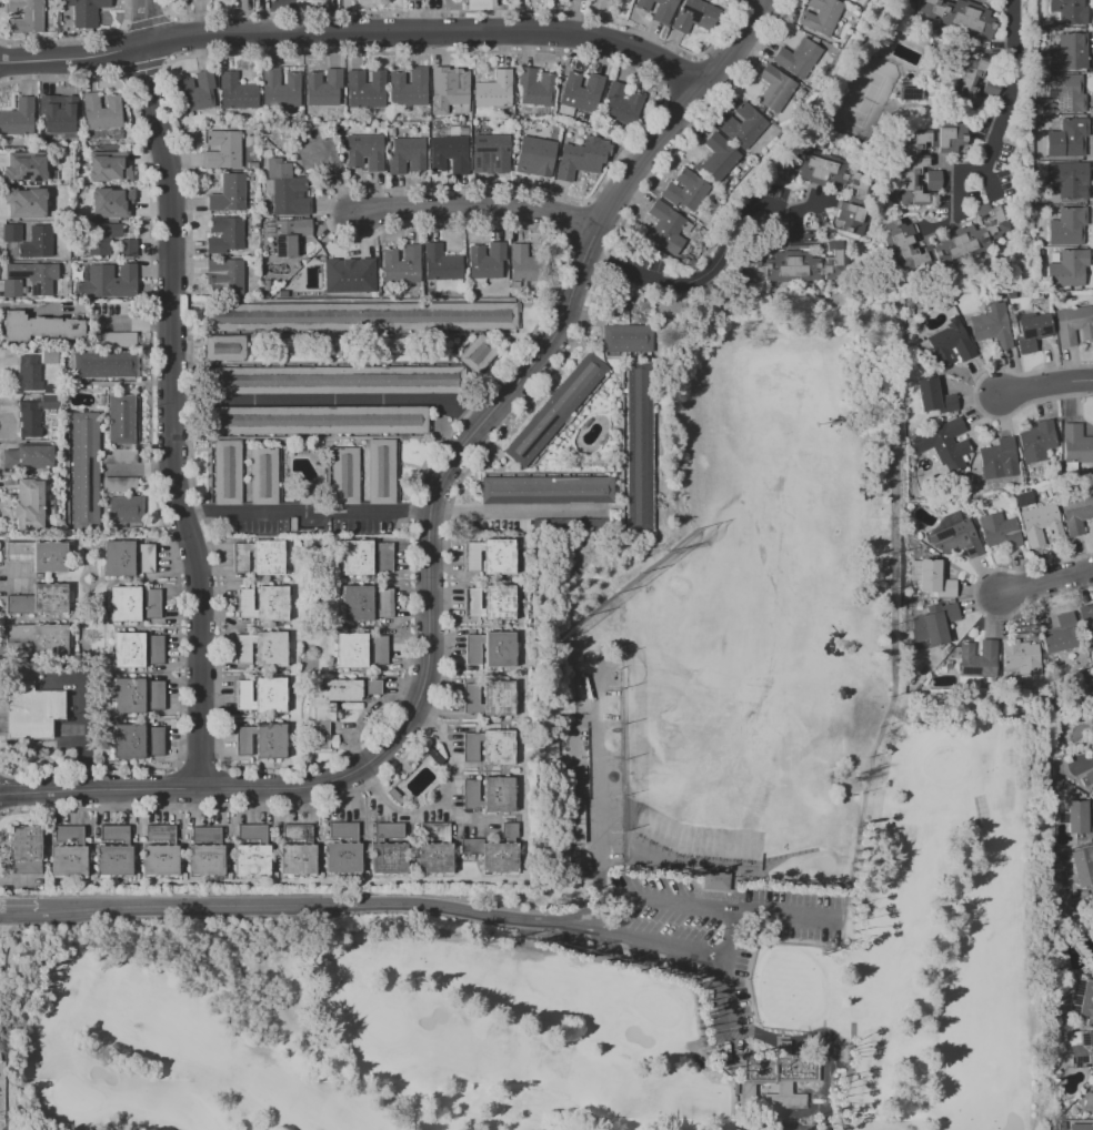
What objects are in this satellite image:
building: (409, 0)
building: (606, 0)
building: (852, 0)
building: (658, 9)
road: (464, 10)
building: (86, 11)
building: (1069, 11)
road: (168, 13)
building: (26, 16)
building: (694, 16)
building: (822, 16)
building: (961, 16)
road: (146, 19)
road: (358, 32)
road: (76, 37)
building: (1066, 52)
road: (699, 57)
building: (798, 58)
road: (681, 74)
building: (970, 81)
building: (450, 85)
building: (408, 87)
building: (535, 87)
building: (774, 88)
road: (1009, 88)
building: (280, 89)
building: (323, 89)
building: (365, 89)
building: (494, 90)
building: (991, 90)
building: (197, 91)
building: (237, 92)
building: (580, 92)
building: (1066, 92)
building: (912, 93)
park: (865, 94)
building: (621, 104)
building: (102, 111)
building: (58, 114)
building: (18, 118)
building: (742, 125)
building: (1066, 138)
building: (222, 149)
building: (364, 151)
building: (488, 151)
building: (448, 152)
building: (408, 153)
building: (318, 154)
building: (925, 155)
building: (534, 157)
building: (718, 157)
building: (574, 161)
building: (252, 165)
building: (24, 167)
building: (109, 167)
building: (833, 176)
building: (934, 179)
building: (1066, 181)
building: (285, 188)
building: (685, 190)
building: (229, 193)
building: (111, 201)
building: (26, 202)
road: (481, 211)
building: (1066, 226)
building: (666, 228)
building: (12, 232)
building: (224, 234)
building: (289, 235)
building: (942, 241)
building: (37, 243)
building: (99, 246)
building: (485, 261)
building: (519, 262)
building: (441, 264)
road: (714, 264)
building: (795, 265)
building: (401, 266)
building: (1066, 268)
building: (227, 274)
building: (350, 275)
building: (29, 279)
building: (111, 281)
building: (267, 285)
building: (282, 293)
building: (908, 305)
building: (362, 316)
building: (991, 325)
building: (1073, 325)
building: (39, 327)
building: (1032, 332)
road: (364, 336)
building: (625, 339)
building: (116, 340)
building: (946, 343)
building: (224, 350)
building: (478, 353)
building: (50, 355)
building: (104, 364)
building: (32, 375)
building: (334, 380)
road: (1045, 387)
road: (169, 395)
building: (932, 395)
road: (335, 402)
road: (501, 402)
building: (554, 410)
building: (34, 415)
building: (121, 420)
building: (313, 420)
road: (319, 440)
building: (1035, 441)
building: (638, 445)
building: (941, 446)
building: (1075, 446)
building: (28, 456)
building: (118, 456)
building: (995, 457)
building: (381, 471)
building: (84, 472)
building: (227, 472)
building: (343, 475)
building: (265, 476)
building: (119, 484)
building: (545, 490)
building: (1023, 498)
building: (30, 504)
road: (515, 508)
building: (126, 511)
building: (1075, 511)
road: (309, 515)
building: (1039, 523)
building: (997, 529)
building: (953, 535)
building: (39, 555)
building: (259, 557)
building: (364, 557)
building: (490, 557)
building: (127, 558)
building: (933, 578)
road: (1046, 584)
building: (39, 599)
building: (492, 603)
building: (265, 604)
building: (368, 604)
building: (136, 605)
building: (1063, 618)
building: (1086, 622)
building: (932, 625)
building: (39, 636)
building: (1055, 640)
building: (265, 650)
building: (363, 650)
building: (491, 650)
building: (139, 652)
building: (1019, 657)
building: (975, 658)
building: (1091, 666)
building: (1092, 673)
building: (1090, 686)
building: (338, 694)
building: (139, 695)
building: (264, 695)
building: (488, 698)
building: (31, 709)
park: (836, 739)
building: (140, 741)
building: (264, 741)
building: (490, 747)
building: (1089, 778)
road: (146, 790)
building: (491, 796)
road: (441, 797)
road: (598, 803)
building: (1079, 818)
building: (574, 820)
building: (249, 850)
building: (295, 850)
building: (340, 850)
building: (385, 850)
building: (433, 850)
building: (494, 851)
building: (24, 852)
building: (158, 852)
building: (67, 854)
building: (111, 854)
building: (204, 854)
building: (1082, 865)
building: (714, 880)
road: (668, 898)
road: (287, 905)
road: (785, 916)
parking lot: (699, 929)
road: (729, 934)
road: (646, 940)
road: (724, 989)
building: (1080, 997)
park: (343, 1032)
building: (1079, 1048)
road: (851, 1055)
road: (699, 1058)
road: (708, 1070)
building: (776, 1078)
building: (1086, 1101)
road: (722, 1126)
building: (1080, 1127)

